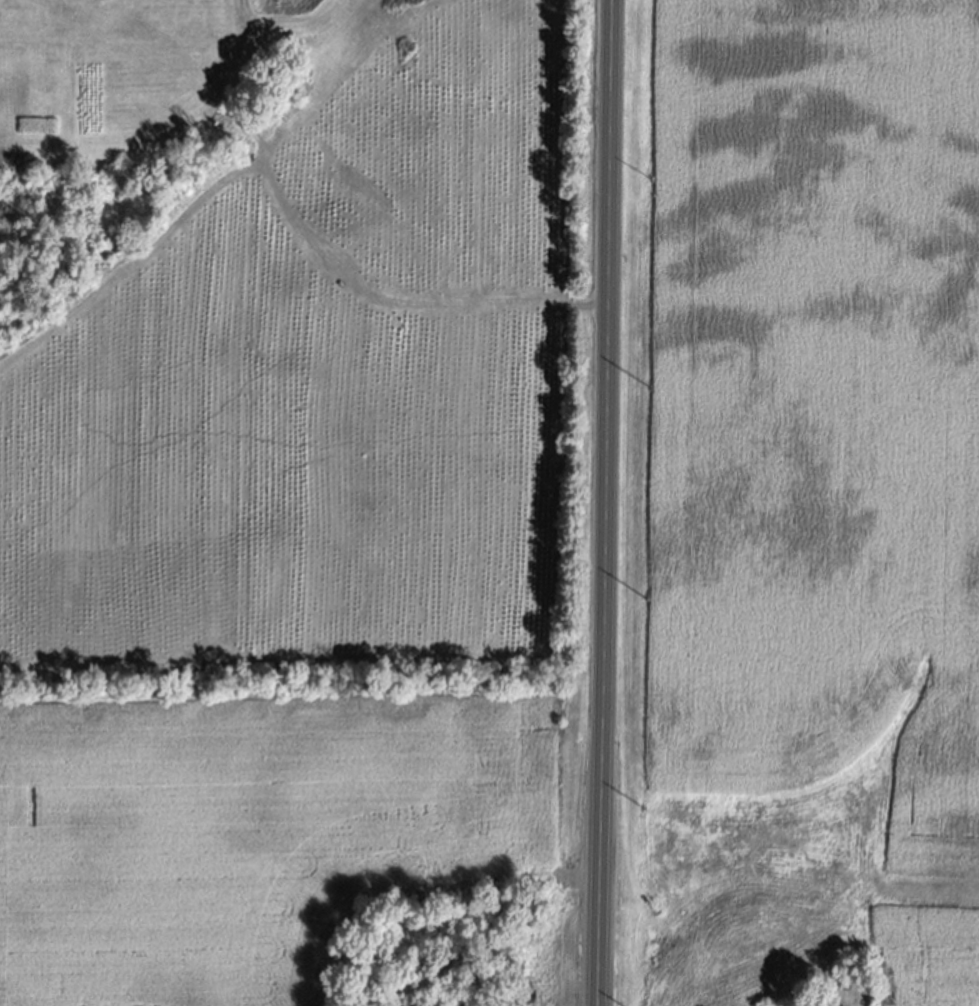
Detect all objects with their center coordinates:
building: (16, 14)
road: (603, 502)
building: (846, 985)
road: (815, 1004)

